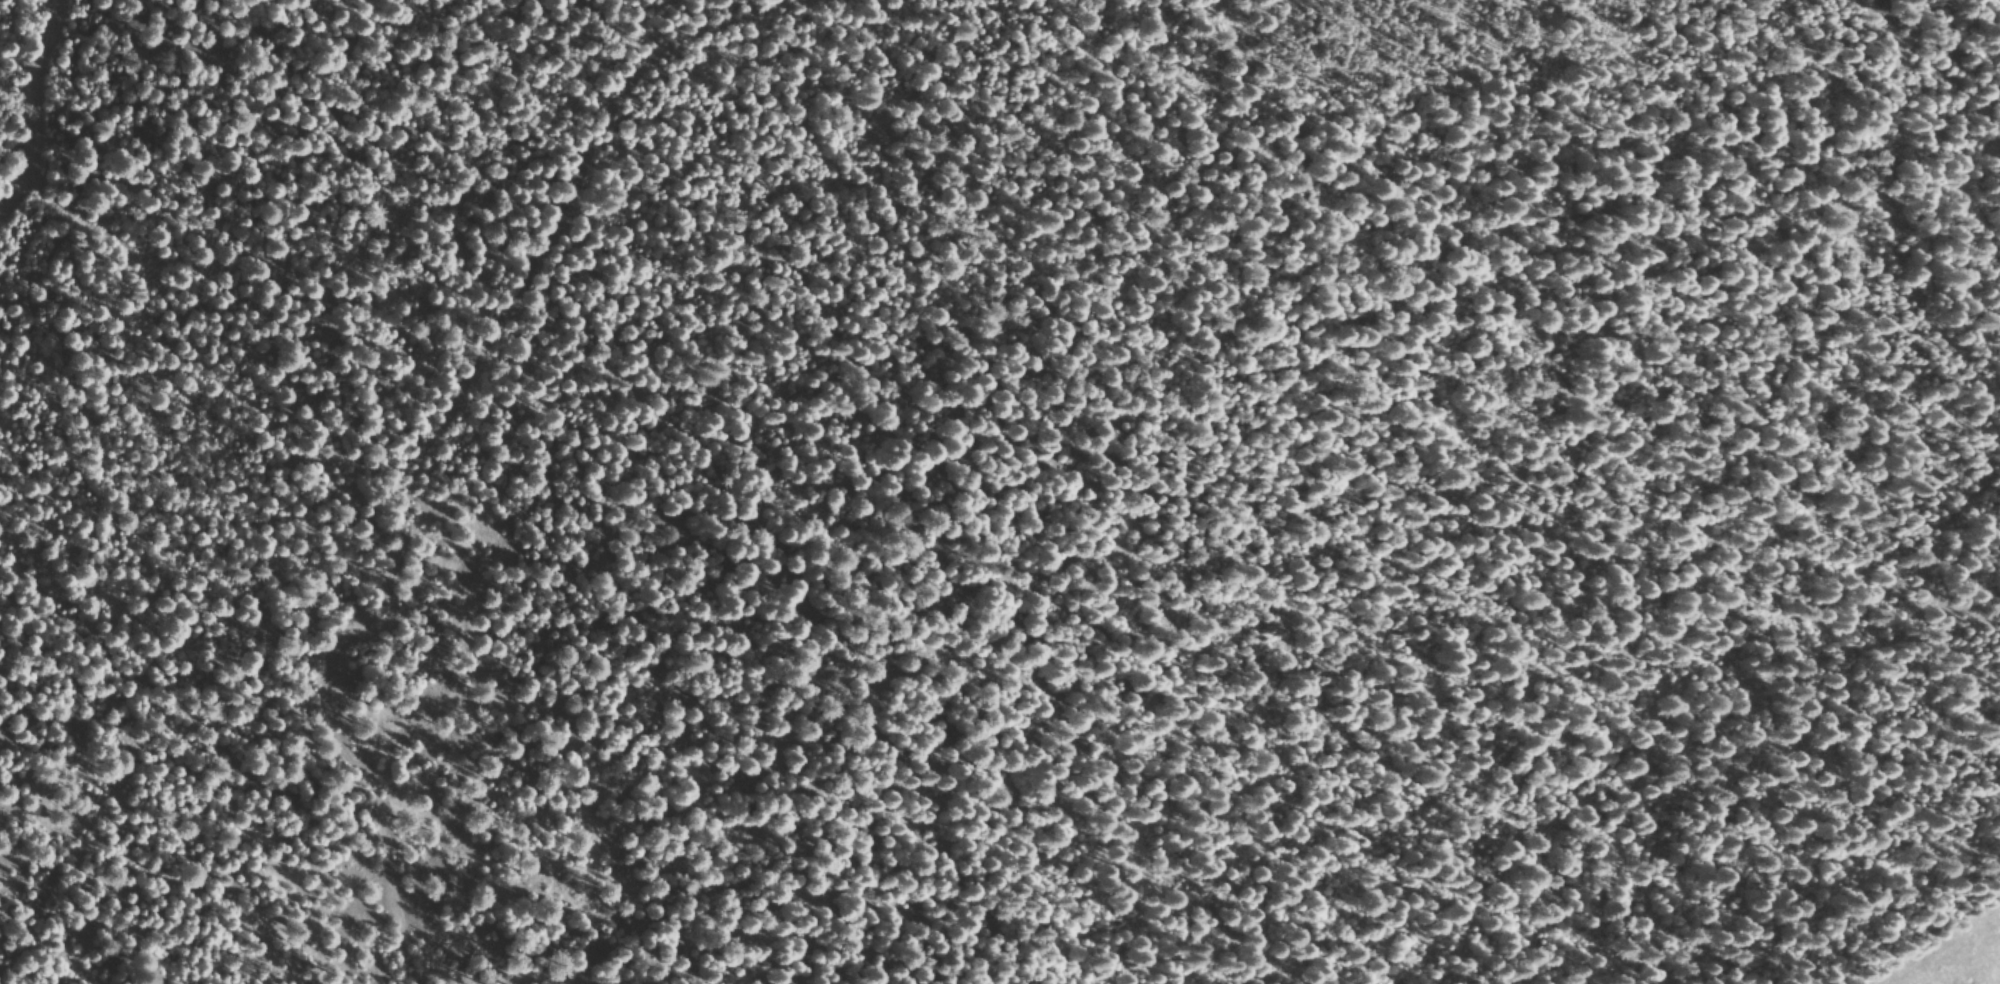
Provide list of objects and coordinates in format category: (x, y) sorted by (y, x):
road: (51, 145)
road: (1890, 330)
road: (463, 445)

